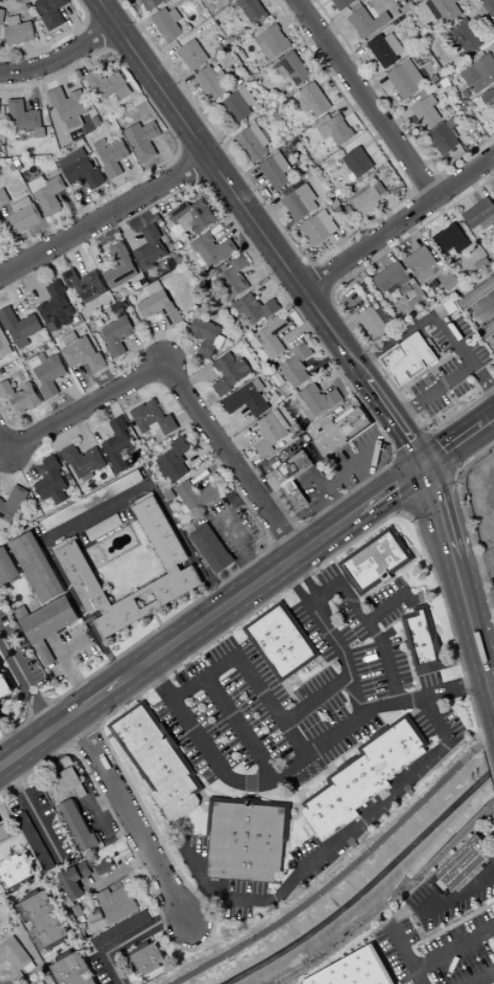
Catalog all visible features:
building: (417, 0)
building: (0, 1)
building: (26, 1)
building: (230, 1)
road: (302, 2)
road: (492, 2)
road: (325, 3)
building: (343, 3)
building: (152, 4)
road: (335, 5)
road: (116, 6)
building: (358, 8)
building: (448, 9)
road: (105, 10)
building: (433, 10)
building: (255, 11)
road: (314, 11)
road: (481, 11)
building: (378, 12)
building: (52, 13)
building: (176, 15)
building: (2, 16)
road: (291, 16)
road: (482, 16)
road: (89, 18)
building: (15, 20)
building: (368, 21)
building: (167, 25)
road: (74, 26)
road: (138, 29)
road: (334, 29)
building: (20, 33)
road: (442, 33)
road: (101, 34)
building: (463, 37)
road: (126, 38)
road: (55, 40)
building: (261, 40)
building: (274, 42)
road: (309, 43)
building: (394, 44)
building: (221, 49)
road: (110, 50)
building: (382, 51)
road: (493, 53)
building: (194, 55)
road: (60, 56)
road: (354, 57)
road: (80, 60)
road: (458, 60)
road: (164, 64)
building: (294, 69)
building: (484, 72)
road: (329, 74)
building: (222, 75)
building: (471, 75)
road: (48, 76)
building: (257, 78)
building: (403, 79)
building: (416, 80)
building: (444, 82)
building: (106, 83)
building: (212, 83)
road: (375, 87)
road: (35, 89)
road: (182, 89)
building: (125, 92)
building: (467, 93)
building: (247, 96)
building: (297, 96)
building: (488, 97)
road: (366, 98)
building: (313, 100)
building: (432, 100)
building: (0, 101)
building: (68, 104)
building: (268, 106)
building: (472, 106)
building: (236, 107)
road: (355, 107)
road: (395, 112)
building: (426, 113)
building: (24, 116)
road: (399, 120)
road: (219, 121)
building: (451, 123)
building: (75, 124)
building: (436, 127)
building: (470, 128)
road: (261, 129)
building: (336, 130)
building: (136, 131)
building: (40, 132)
building: (455, 133)
road: (173, 135)
building: (476, 136)
road: (375, 138)
road: (198, 139)
building: (444, 139)
building: (146, 142)
building: (253, 143)
building: (102, 145)
road: (429, 147)
road: (181, 149)
road: (224, 151)
building: (78, 155)
road: (238, 155)
building: (114, 158)
road: (166, 158)
road: (427, 161)
building: (281, 162)
building: (358, 162)
road: (194, 163)
road: (216, 166)
building: (19, 167)
road: (218, 167)
road: (440, 171)
building: (84, 172)
building: (273, 173)
road: (130, 174)
road: (136, 176)
building: (352, 177)
road: (203, 181)
road: (246, 181)
building: (38, 184)
road: (426, 184)
road: (476, 185)
road: (450, 187)
building: (337, 192)
road: (409, 193)
building: (51, 196)
road: (88, 196)
building: (307, 196)
building: (493, 196)
building: (4, 197)
road: (163, 199)
building: (367, 200)
road: (214, 203)
building: (22, 204)
road: (84, 205)
building: (296, 206)
road: (422, 207)
road: (73, 210)
road: (442, 210)
road: (268, 213)
road: (389, 214)
building: (480, 215)
road: (104, 216)
building: (25, 218)
building: (193, 220)
building: (1, 222)
road: (399, 223)
road: (233, 225)
building: (318, 228)
road: (127, 233)
road: (412, 233)
building: (449, 238)
road: (343, 246)
road: (20, 247)
building: (152, 248)
road: (386, 249)
road: (93, 250)
building: (216, 251)
building: (452, 251)
road: (297, 254)
road: (80, 256)
road: (325, 256)
road: (310, 264)
building: (422, 264)
building: (122, 269)
road: (1, 273)
road: (261, 273)
building: (233, 276)
road: (295, 277)
building: (391, 279)
road: (319, 280)
building: (448, 280)
building: (86, 284)
road: (273, 284)
road: (31, 287)
building: (155, 288)
road: (16, 293)
road: (331, 295)
building: (477, 295)
road: (315, 305)
building: (118, 307)
building: (162, 308)
building: (57, 309)
building: (257, 309)
road: (344, 315)
building: (376, 322)
road: (344, 325)
building: (20, 326)
road: (304, 331)
building: (487, 332)
building: (207, 334)
building: (119, 335)
building: (273, 337)
building: (71, 339)
road: (457, 339)
building: (56, 341)
road: (339, 341)
building: (220, 342)
road: (161, 344)
building: (4, 345)
building: (255, 345)
road: (144, 353)
road: (180, 353)
building: (85, 355)
road: (348, 355)
building: (43, 358)
building: (411, 359)
building: (19, 361)
road: (327, 361)
building: (36, 362)
road: (355, 365)
building: (298, 366)
road: (339, 370)
building: (231, 373)
road: (201, 374)
road: (331, 374)
building: (51, 376)
road: (484, 377)
road: (174, 380)
building: (260, 384)
road: (85, 386)
road: (74, 392)
road: (138, 392)
road: (376, 395)
building: (21, 396)
building: (266, 397)
building: (320, 399)
road: (3, 400)
building: (248, 401)
road: (211, 408)
road: (485, 410)
building: (309, 412)
road: (187, 417)
building: (154, 418)
building: (352, 418)
road: (34, 422)
building: (283, 422)
road: (374, 422)
road: (92, 424)
road: (397, 424)
building: (155, 427)
road: (235, 427)
road: (82, 431)
road: (361, 432)
building: (271, 434)
road: (447, 437)
building: (330, 439)
road: (49, 440)
road: (241, 440)
road: (377, 444)
road: (2, 445)
building: (119, 445)
road: (412, 446)
building: (308, 447)
road: (412, 447)
road: (336, 450)
road: (439, 452)
road: (3, 453)
road: (203, 453)
road: (461, 453)
road: (395, 456)
road: (41, 458)
building: (84, 460)
building: (176, 460)
building: (108, 461)
road: (25, 464)
building: (277, 465)
traffic signals: (423, 465)
road: (215, 466)
road: (339, 472)
road: (5, 474)
building: (69, 477)
building: (89, 477)
road: (367, 478)
building: (53, 479)
building: (293, 479)
gas station: (300, 479)
road: (404, 479)
building: (197, 482)
road: (313, 485)
road: (431, 487)
road: (390, 488)
building: (198, 495)
building: (171, 496)
road: (297, 496)
road: (336, 498)
building: (93, 500)
building: (13, 505)
road: (281, 508)
road: (406, 509)
road: (443, 510)
building: (187, 511)
road: (97, 513)
road: (467, 522)
building: (5, 526)
road: (297, 526)
building: (104, 527)
road: (233, 527)
road: (285, 537)
road: (271, 544)
road: (186, 546)
road: (308, 547)
building: (211, 549)
building: (178, 561)
road: (287, 562)
building: (377, 562)
building: (8, 567)
building: (38, 567)
road: (227, 573)
road: (25, 574)
road: (397, 575)
road: (305, 578)
road: (391, 579)
road: (29, 581)
road: (295, 585)
road: (30, 591)
road: (355, 591)
road: (327, 592)
road: (240, 595)
road: (277, 600)
road: (388, 605)
road: (83, 610)
road: (245, 618)
road: (157, 619)
building: (48, 625)
road: (243, 625)
road: (159, 627)
road: (475, 627)
road: (299, 631)
building: (424, 641)
building: (283, 642)
road: (408, 649)
road: (264, 655)
road: (322, 663)
road: (67, 664)
road: (316, 672)
road: (249, 676)
road: (26, 682)
building: (5, 687)
road: (292, 696)
road: (97, 697)
road: (425, 697)
road: (139, 699)
road: (316, 699)
road: (417, 710)
road: (408, 717)
building: (2, 720)
parking lot: (322, 721)
road: (99, 725)
road: (241, 728)
road: (84, 733)
road: (109, 737)
road: (35, 740)
road: (72, 746)
road: (171, 747)
road: (360, 748)
road: (430, 752)
road: (343, 755)
road: (343, 759)
building: (159, 761)
road: (346, 763)
road: (489, 763)
road: (330, 771)
road: (332, 775)
building: (363, 776)
road: (233, 780)
building: (71, 784)
road: (202, 797)
road: (249, 802)
road: (305, 802)
road: (103, 803)
road: (296, 805)
road: (188, 812)
road: (34, 813)
road: (116, 819)
road: (130, 819)
road: (93, 821)
road: (286, 823)
building: (77, 826)
building: (5, 833)
road: (119, 834)
road: (191, 836)
road: (447, 837)
building: (246, 839)
building: (34, 841)
road: (449, 842)
road: (340, 843)
road: (284, 849)
road: (120, 853)
building: (463, 862)
building: (104, 867)
building: (15, 871)
road: (118, 874)
building: (72, 879)
road: (456, 899)
road: (196, 902)
building: (116, 903)
building: (94, 917)
building: (40, 919)
building: (120, 930)
road: (343, 938)
road: (129, 940)
road: (455, 949)
road: (406, 953)
building: (15, 955)
building: (146, 959)
building: (69, 969)
building: (353, 970)
road: (483, 978)

